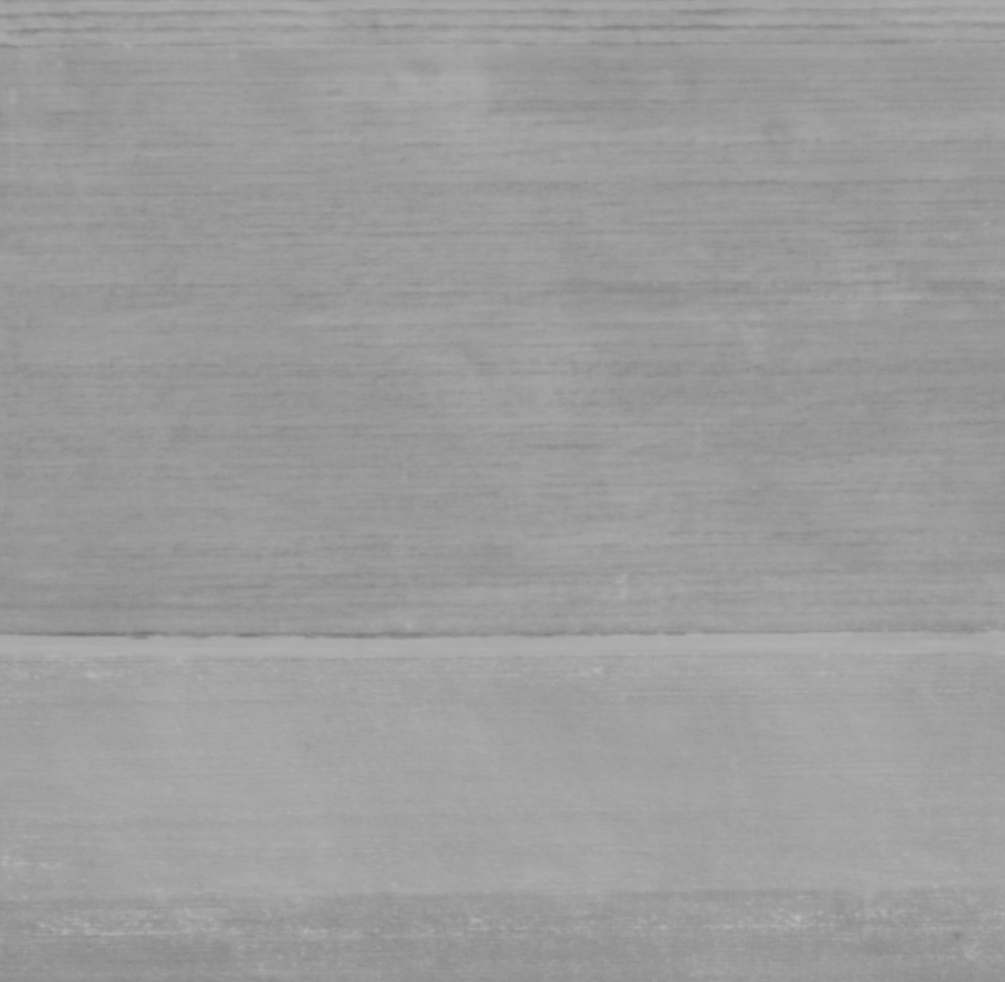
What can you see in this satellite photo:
crop: (501, 311)
road: (502, 645)
crop: (505, 823)

